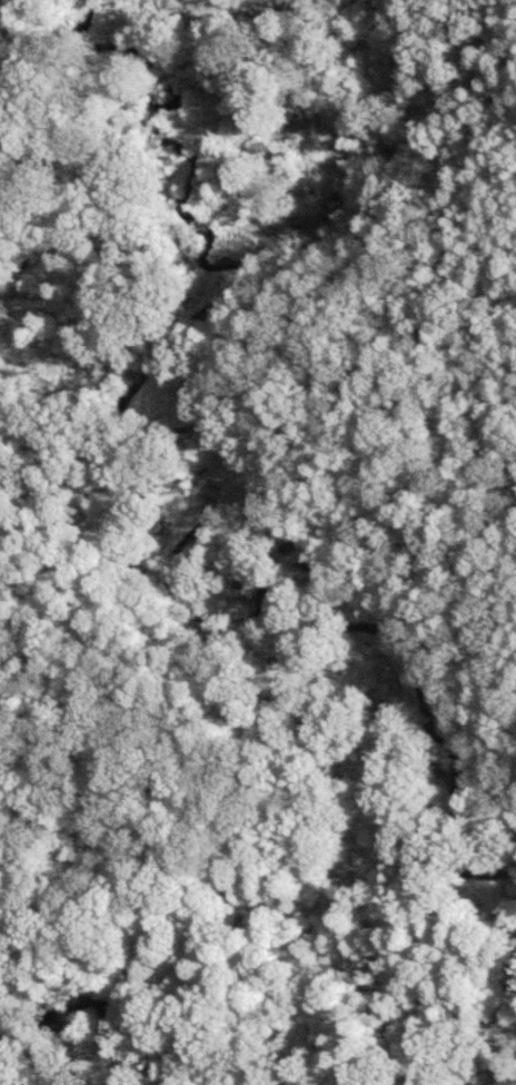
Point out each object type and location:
road: (488, 10)
road: (275, 42)
road: (68, 63)
road: (171, 71)
road: (158, 136)
road: (86, 145)
road: (439, 169)
road: (487, 199)
road: (85, 224)
road: (479, 269)
road: (328, 346)
road: (98, 721)

